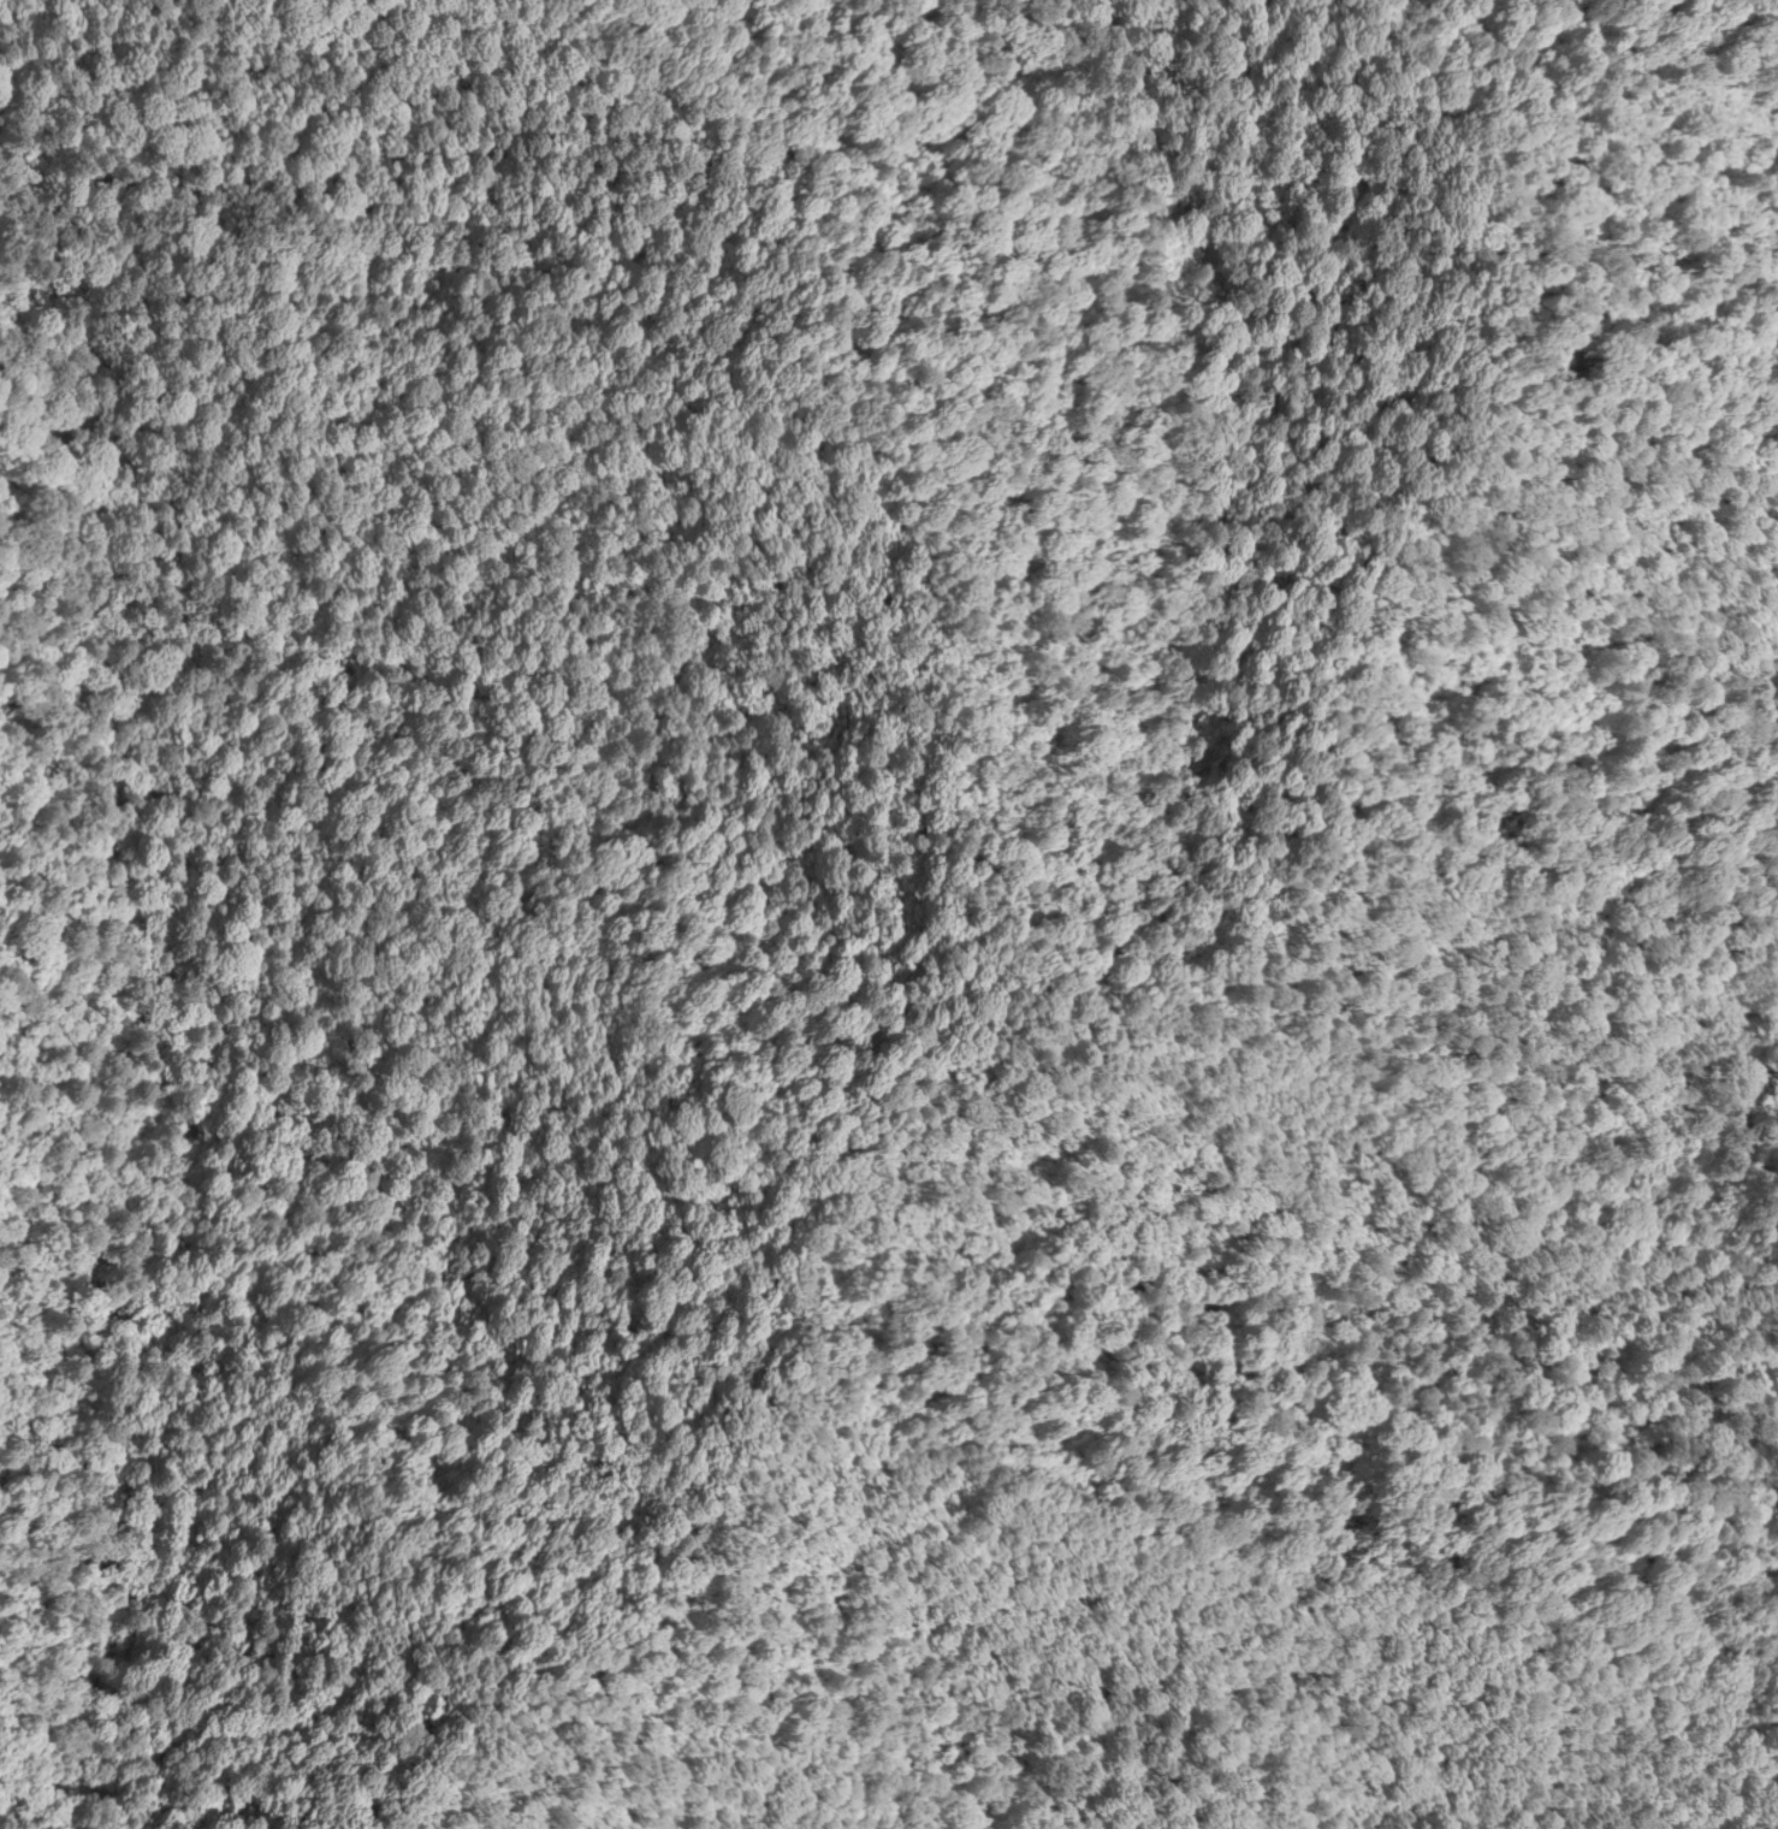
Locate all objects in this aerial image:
road: (1768, 727)

